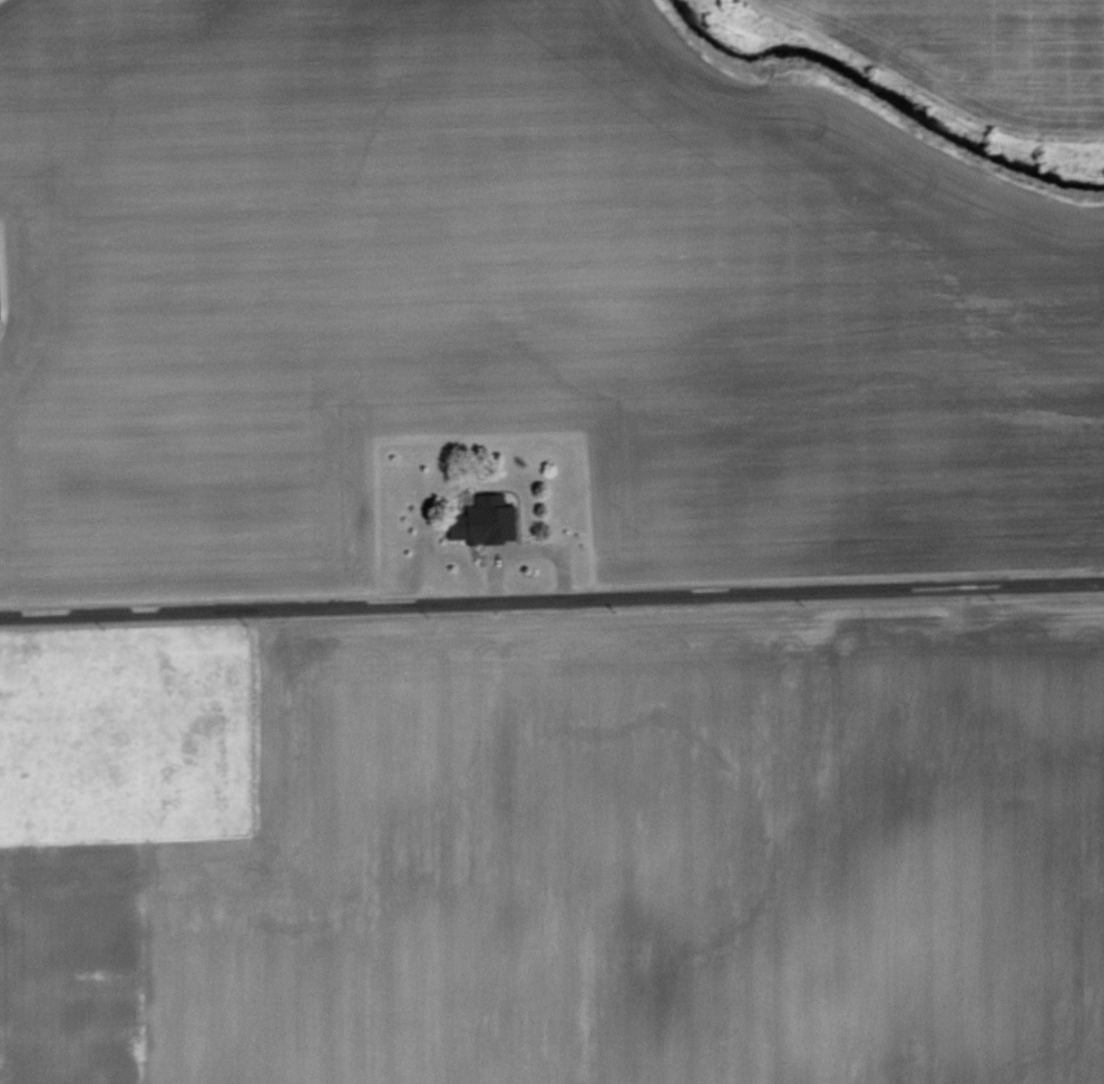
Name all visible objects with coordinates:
building: (480, 519)
road: (551, 602)

